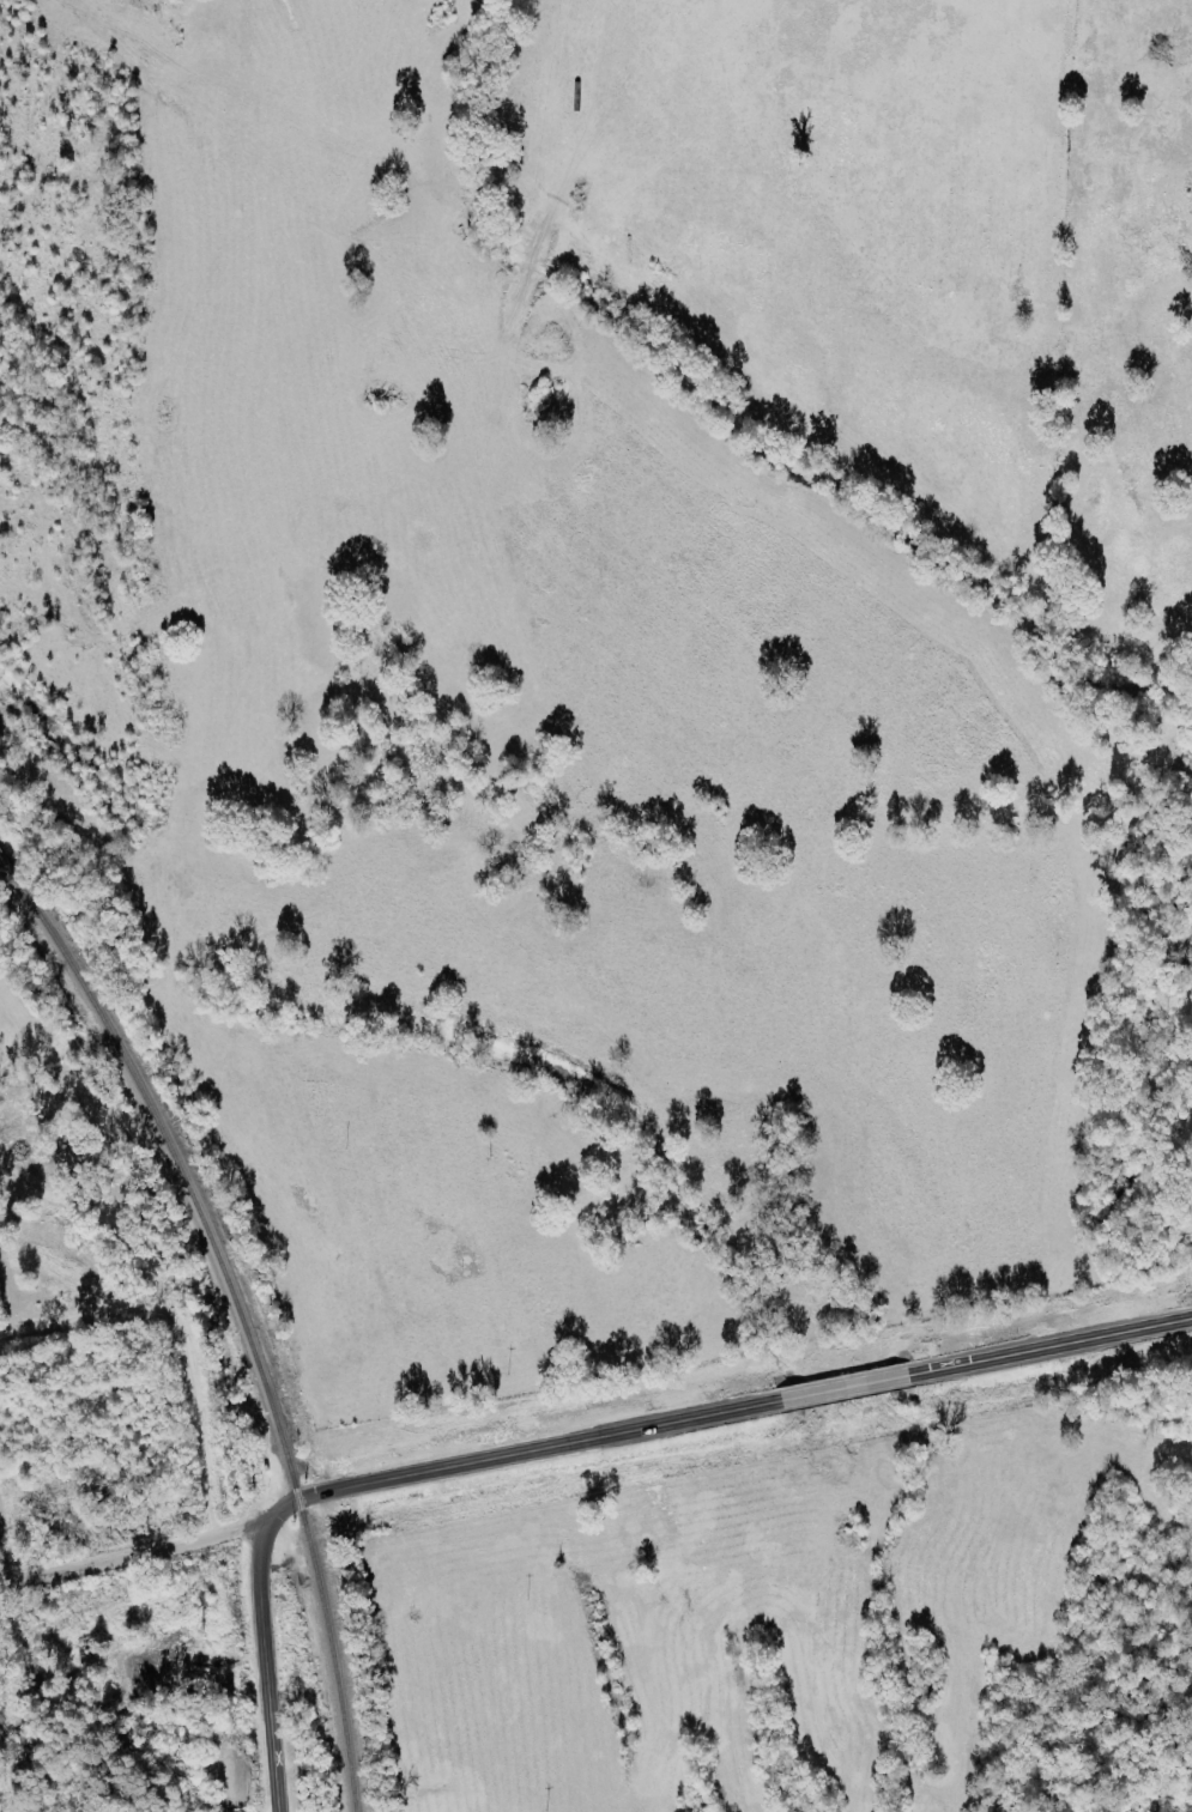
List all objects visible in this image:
railway: (6, 867)
road: (78, 1316)
railway: (242, 1323)
road: (1048, 1347)
road: (841, 1389)
road: (192, 1418)
road: (373, 1480)
road: (131, 1555)

